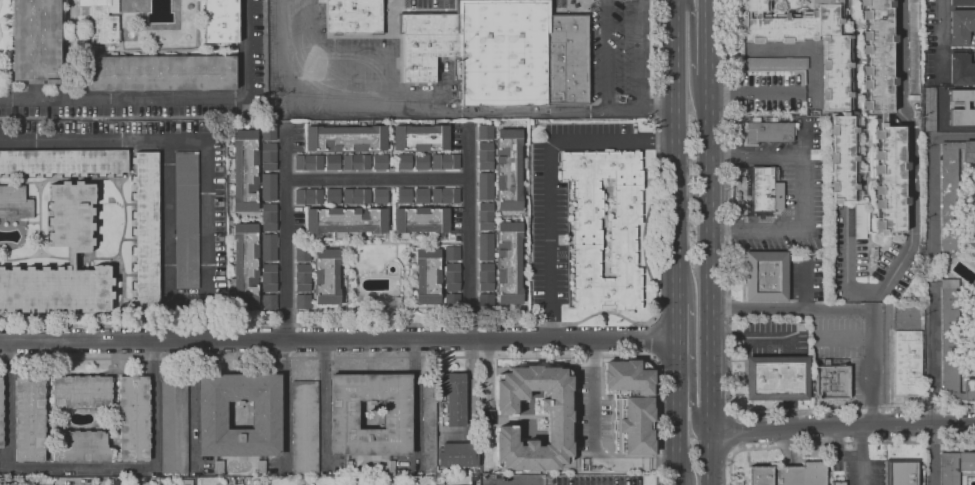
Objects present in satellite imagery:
building: (961, 2)
road: (707, 6)
road: (695, 9)
building: (354, 16)
building: (101, 20)
building: (220, 21)
building: (961, 26)
building: (35, 40)
road: (935, 40)
building: (912, 46)
road: (245, 47)
road: (298, 50)
building: (502, 52)
road: (708, 53)
road: (605, 55)
road: (641, 55)
building: (961, 68)
building: (157, 72)
road: (816, 92)
road: (123, 100)
building: (837, 105)
building: (962, 108)
building: (928, 109)
road: (486, 111)
building: (883, 115)
road: (939, 128)
building: (485, 132)
building: (268, 133)
building: (767, 133)
building: (346, 138)
building: (420, 138)
road: (677, 149)
building: (969, 152)
road: (755, 154)
road: (912, 154)
building: (268, 157)
road: (165, 158)
building: (63, 162)
building: (332, 162)
building: (356, 162)
building: (380, 162)
building: (404, 162)
building: (421, 162)
building: (444, 162)
building: (308, 163)
building: (504, 168)
road: (931, 169)
building: (244, 171)
road: (549, 173)
road: (376, 178)
building: (268, 187)
building: (485, 187)
building: (760, 191)
road: (803, 191)
building: (332, 196)
building: (356, 196)
building: (379, 196)
building: (404, 196)
building: (421, 196)
building: (445, 196)
building: (308, 197)
building: (949, 199)
building: (15, 202)
building: (485, 216)
building: (269, 218)
building: (186, 220)
road: (206, 220)
building: (421, 220)
building: (345, 221)
road: (756, 228)
building: (146, 232)
road: (468, 233)
building: (586, 233)
road: (285, 234)
building: (268, 247)
building: (79, 248)
building: (451, 253)
building: (501, 263)
building: (245, 264)
building: (319, 274)
building: (427, 275)
building: (451, 277)
building: (765, 277)
building: (269, 278)
road: (806, 285)
road: (709, 288)
building: (452, 301)
building: (269, 302)
building: (302, 302)
building: (486, 302)
building: (393, 303)
road: (790, 308)
road: (490, 324)
road: (730, 328)
road: (654, 339)
road: (338, 340)
building: (949, 340)
road: (677, 346)
road: (391, 357)
road: (932, 357)
building: (572, 362)
road: (871, 362)
building: (907, 363)
building: (627, 377)
building: (776, 379)
building: (829, 382)
building: (969, 390)
building: (81, 391)
road: (8, 398)
building: (456, 399)
road: (471, 399)
road: (696, 409)
building: (1, 413)
building: (211, 415)
building: (343, 417)
building: (29, 418)
building: (134, 418)
building: (558, 420)
building: (429, 423)
building: (174, 424)
building: (637, 424)
road: (842, 425)
building: (305, 428)
road: (733, 435)
road: (592, 438)
road: (677, 438)
road: (837, 443)
building: (81, 447)
road: (849, 455)
building: (457, 456)
building: (261, 466)
building: (955, 466)
road: (134, 467)
building: (219, 467)
building: (348, 467)
building: (391, 467)
road: (861, 470)
building: (902, 472)
building: (788, 475)
building: (353, 481)
building: (111, 482)
building: (118, 482)
building: (187, 482)
building: (25, 483)
building: (838, 483)
road: (508, 484)

